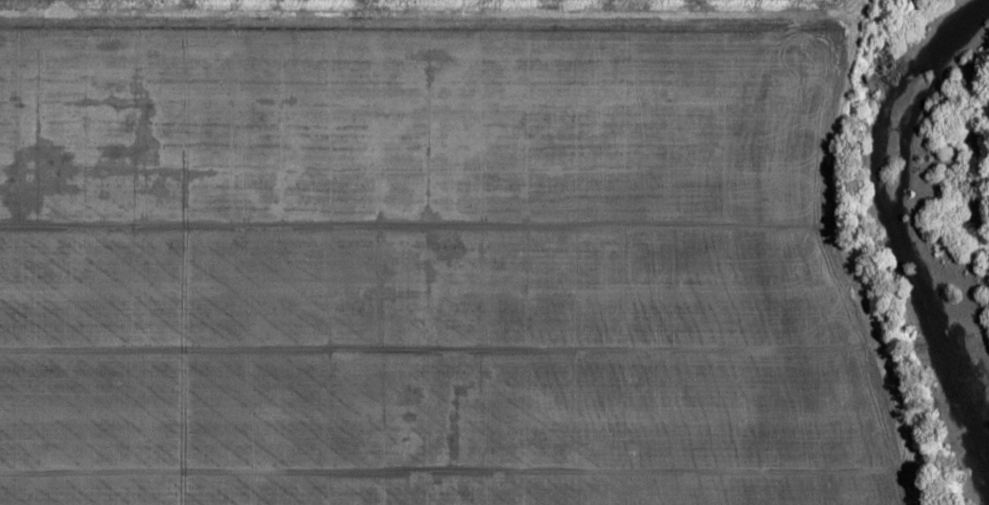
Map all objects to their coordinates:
road: (419, 13)

